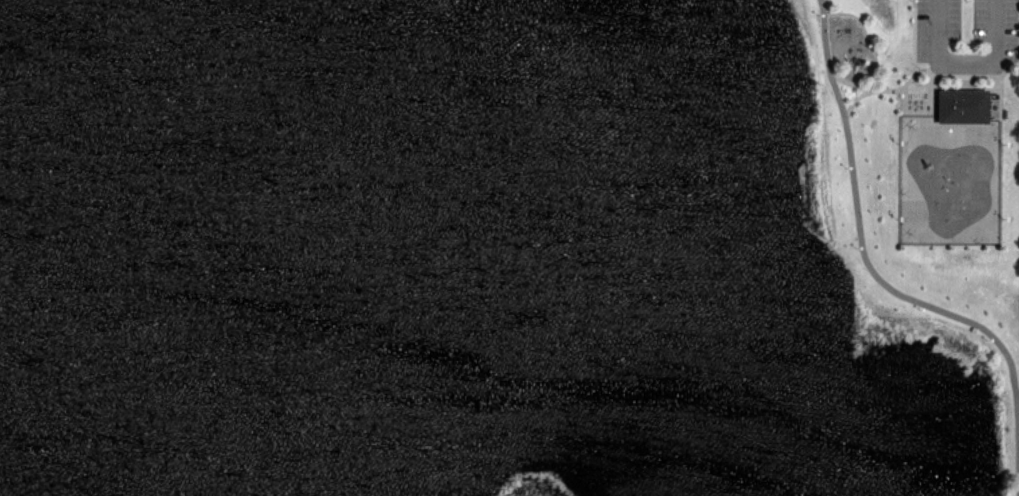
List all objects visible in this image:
road: (965, 62)
building: (960, 106)
park: (925, 172)
road: (882, 282)

